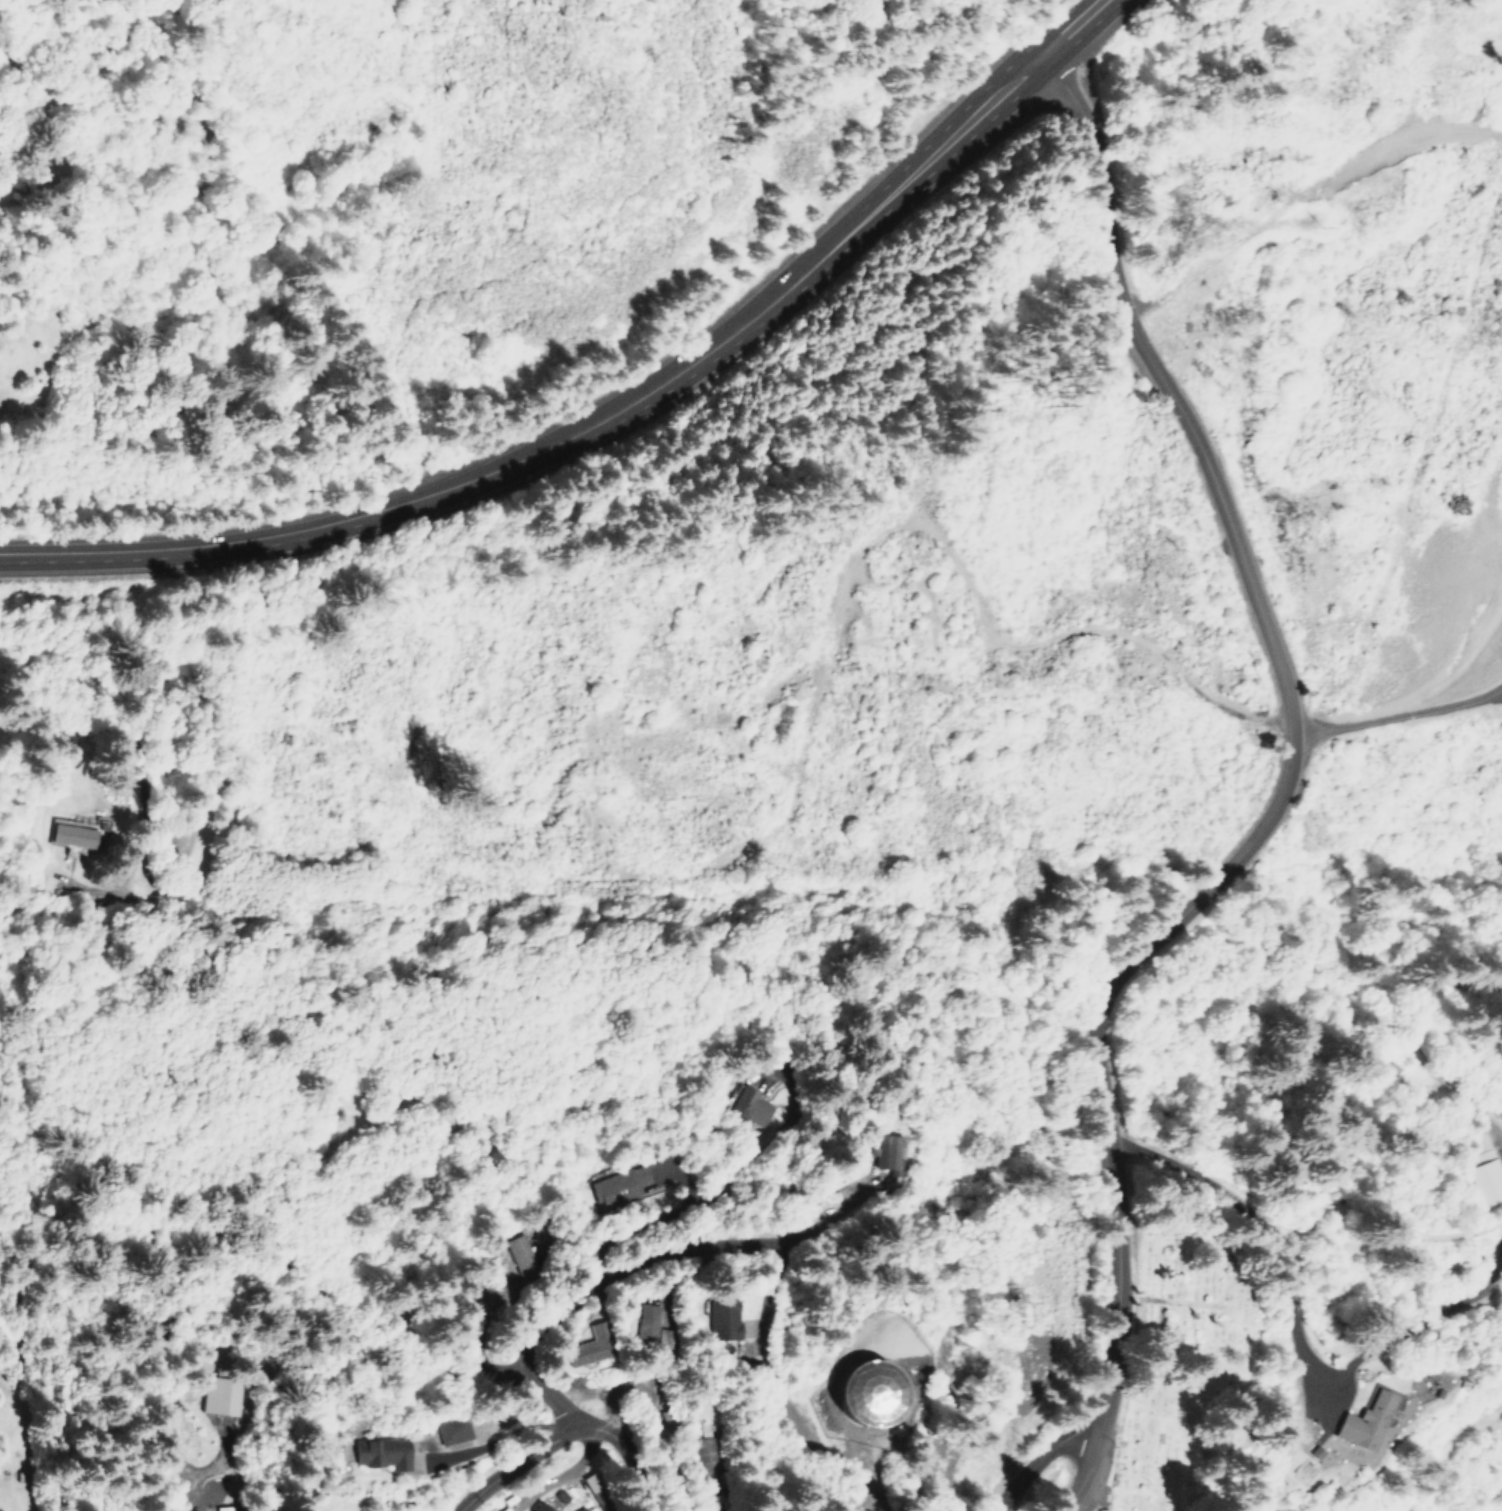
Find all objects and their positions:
road: (970, 125)
road: (447, 489)
road: (1261, 615)
road: (979, 1078)
building: (882, 1150)
building: (1486, 1172)
building: (619, 1185)
road: (695, 1202)
road: (620, 1270)
building: (717, 1318)
building: (645, 1321)
road: (382, 1330)
road: (1121, 1331)
building: (588, 1346)
building: (846, 1391)
building: (218, 1396)
building: (1363, 1420)
building: (447, 1429)
building: (373, 1452)
road: (515, 1452)
road: (1051, 1456)
road: (597, 1504)
building: (831, 1506)
building: (536, 1507)

